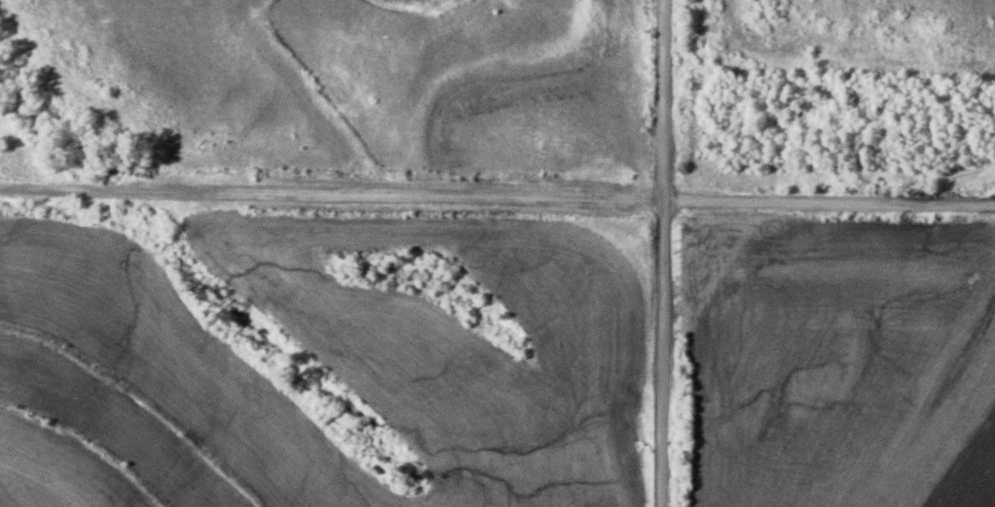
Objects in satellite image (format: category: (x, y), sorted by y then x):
road: (497, 200)
road: (661, 253)

